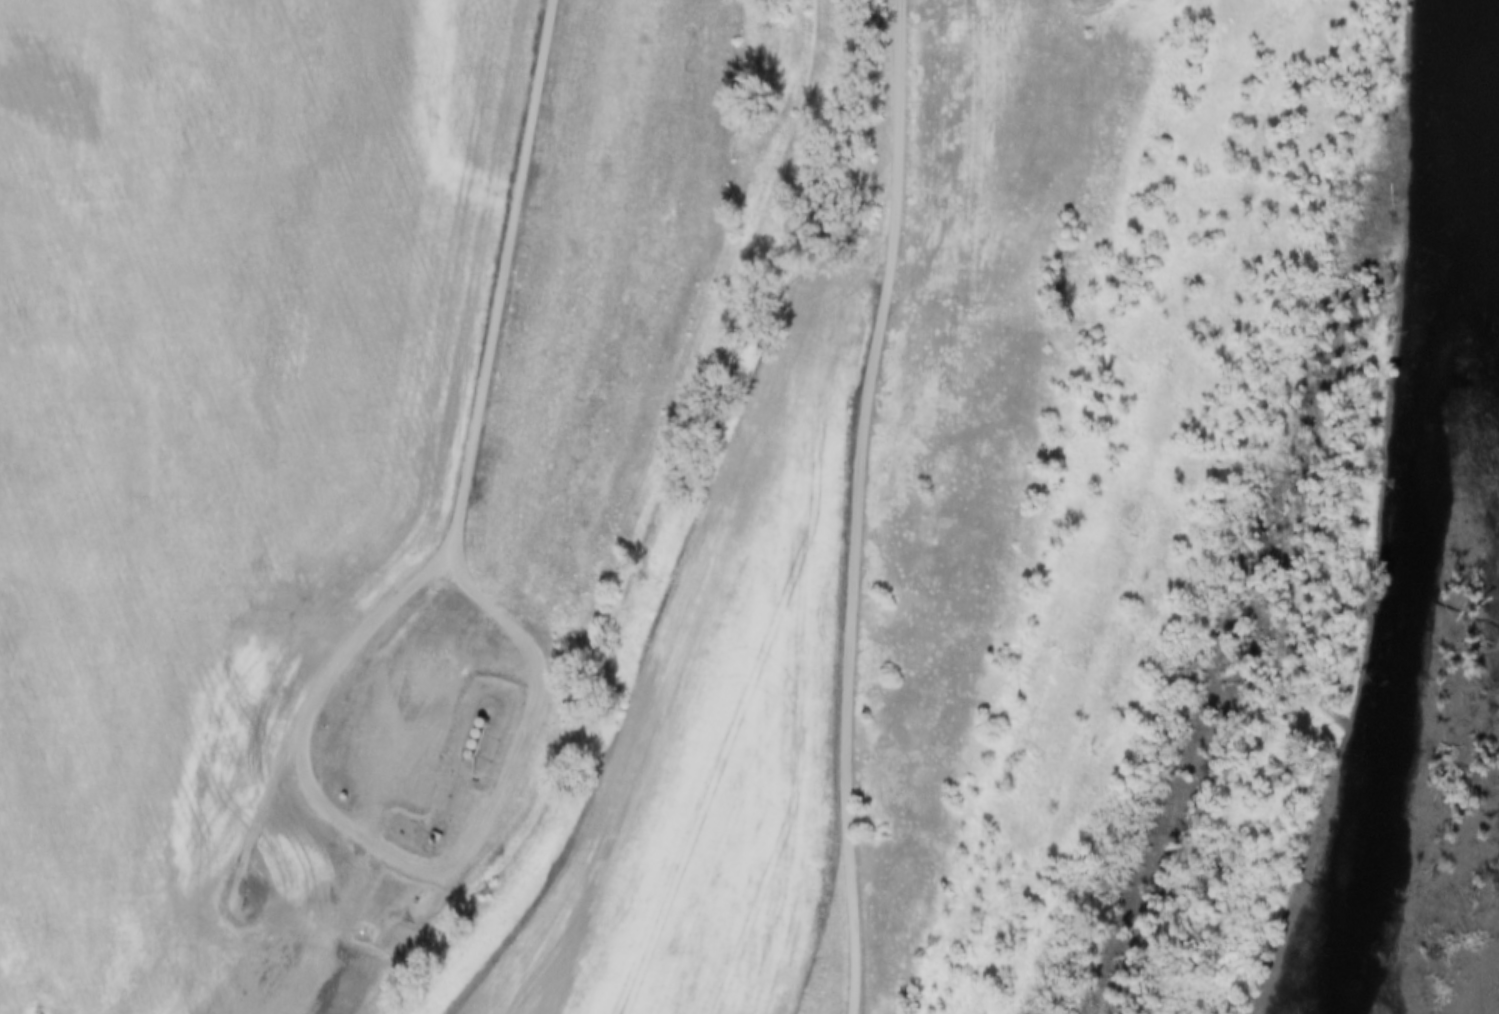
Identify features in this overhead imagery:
road: (498, 289)
road: (858, 506)
road: (388, 862)
road: (219, 899)

